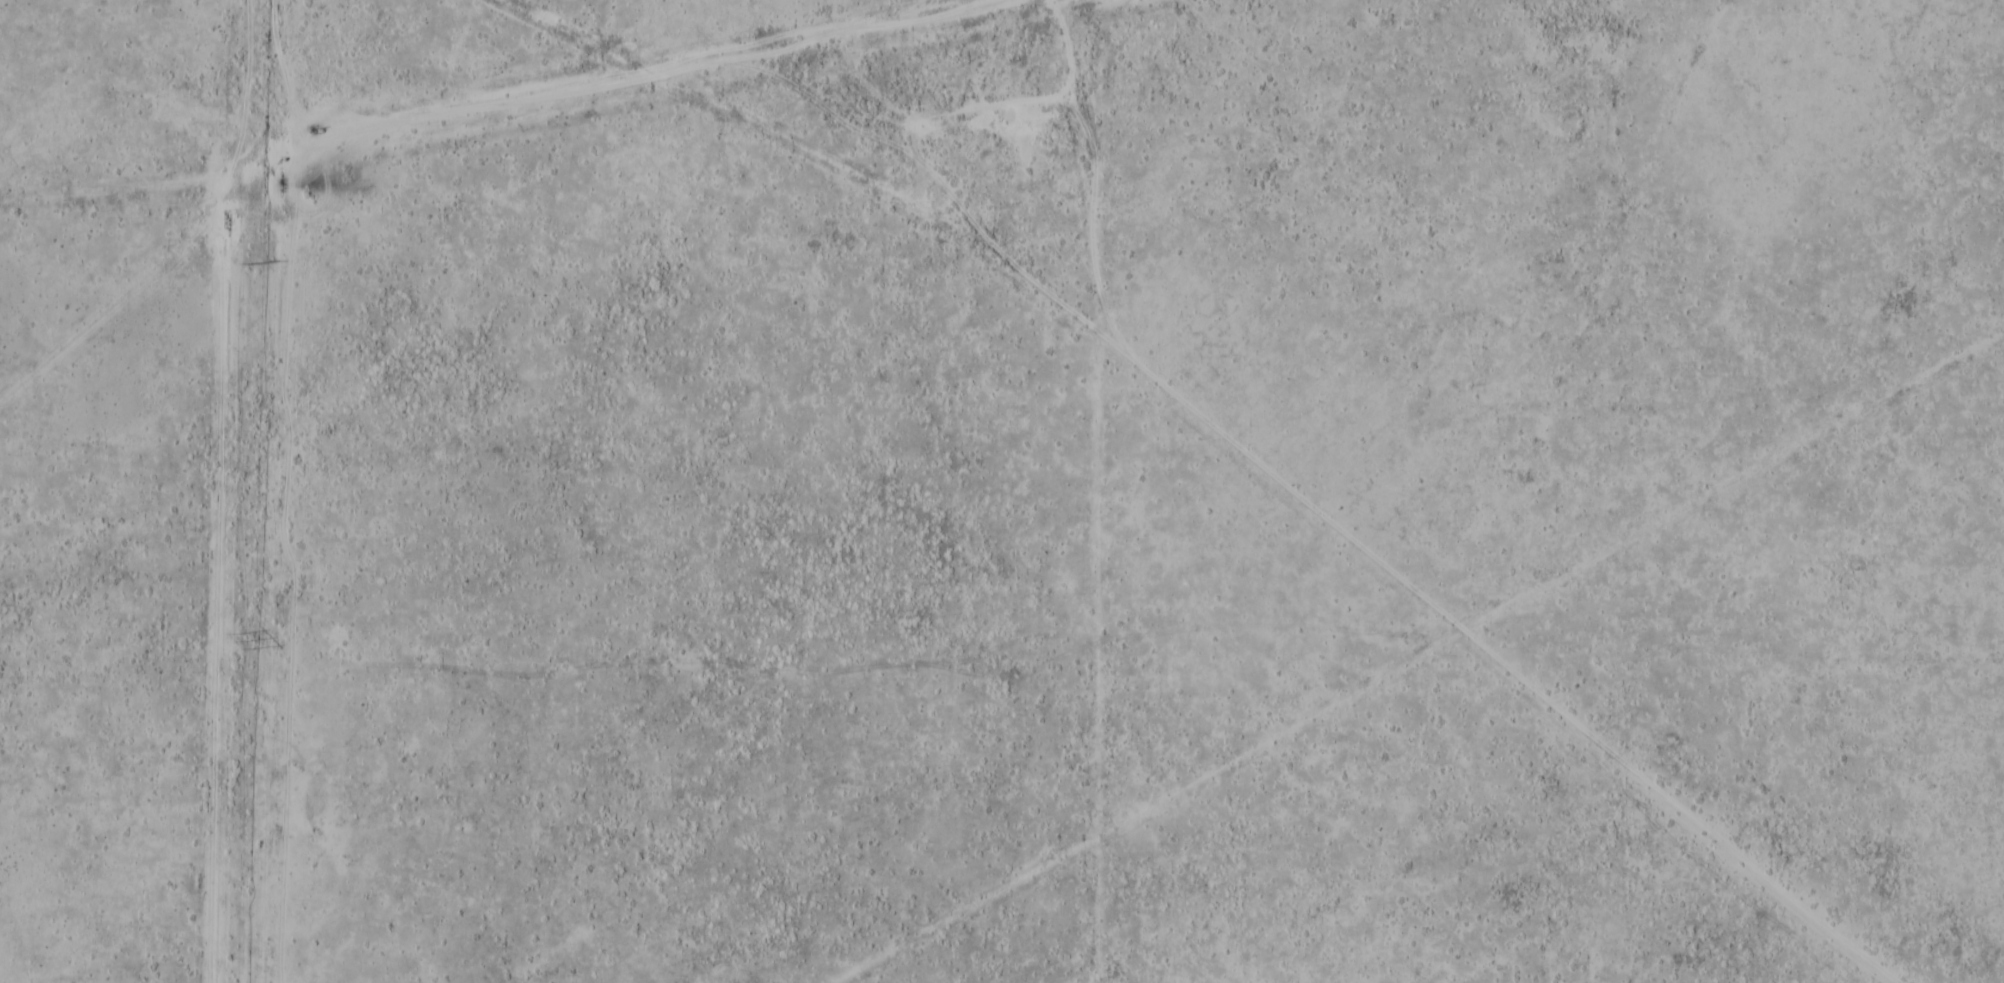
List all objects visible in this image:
road: (1061, 49)
road: (691, 61)
road: (1084, 138)
power tower: (250, 265)
road: (1386, 566)
power tower: (243, 643)

